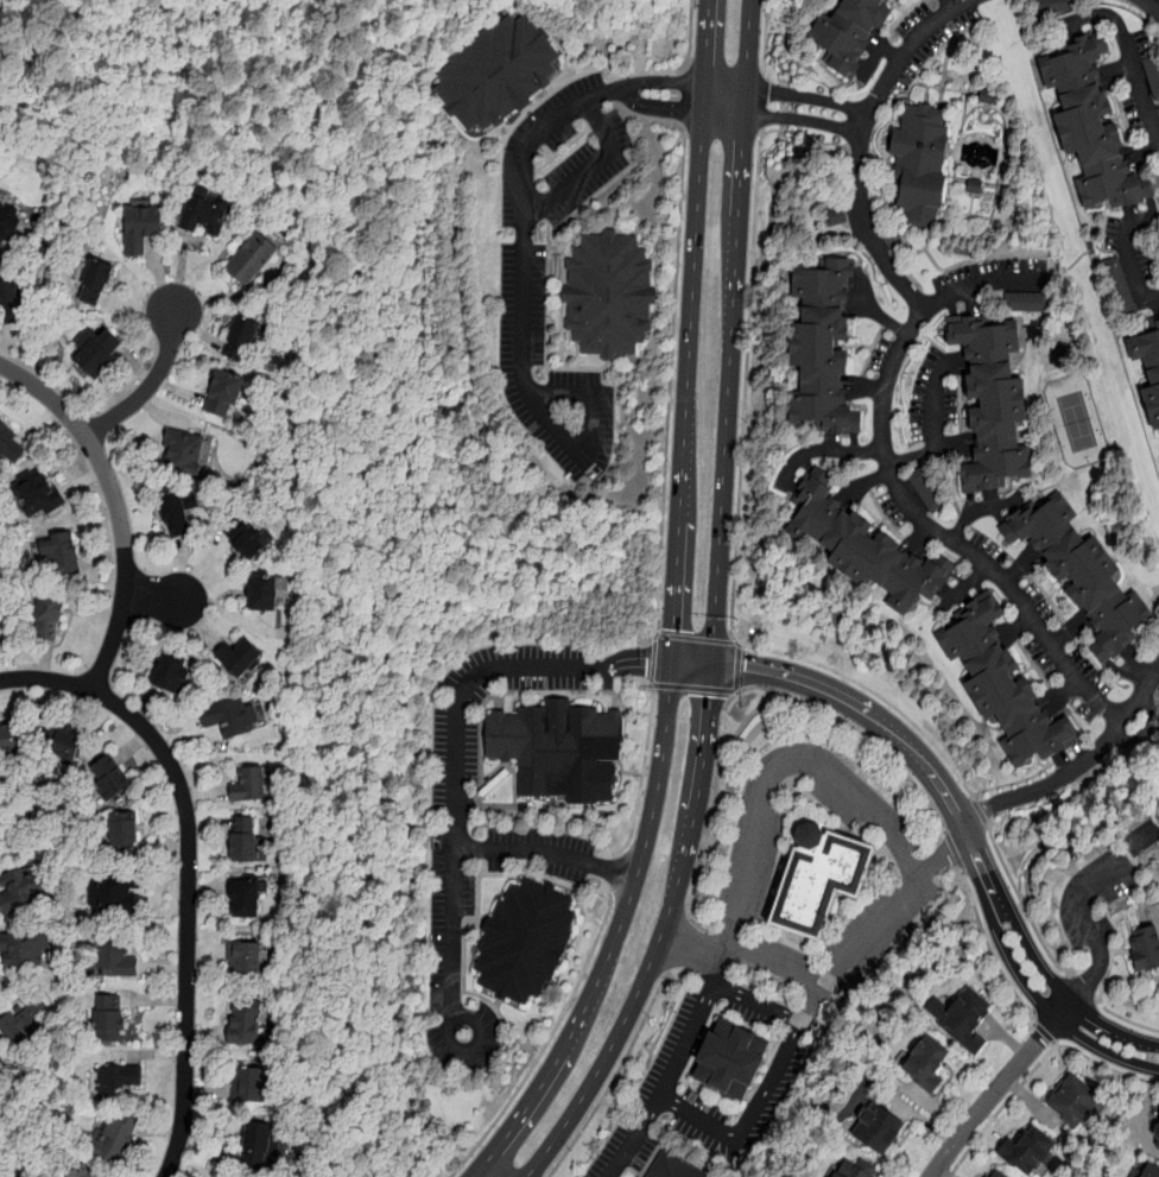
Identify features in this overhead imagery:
road: (1149, 5)
building: (1057, 6)
building: (857, 27)
road: (690, 37)
road: (765, 37)
road: (1130, 58)
building: (500, 74)
building: (1152, 75)
road: (665, 80)
road: (683, 97)
road: (761, 101)
road: (661, 107)
road: (785, 107)
building: (1094, 125)
road: (863, 145)
building: (924, 159)
road: (593, 167)
building: (204, 213)
building: (8, 220)
building: (141, 227)
road: (1144, 246)
road: (12, 251)
road: (1107, 253)
road: (1130, 255)
road: (1015, 258)
building: (252, 259)
building: (95, 281)
building: (1116, 292)
building: (612, 296)
building: (11, 299)
building: (1020, 300)
road: (525, 325)
building: (241, 338)
building: (829, 344)
building: (96, 350)
building: (1149, 363)
road: (150, 382)
road: (670, 385)
building: (224, 392)
building: (997, 398)
park: (1077, 419)
road: (935, 429)
building: (12, 444)
building: (183, 449)
building: (930, 487)
building: (38, 492)
road: (901, 495)
road: (118, 505)
building: (178, 512)
road: (736, 533)
building: (245, 538)
building: (864, 542)
building: (59, 552)
building: (1088, 569)
building: (261, 590)
road: (156, 597)
road: (716, 607)
road: (676, 610)
building: (49, 616)
building: (239, 657)
road: (646, 663)
road: (737, 669)
building: (171, 672)
building: (1009, 685)
road: (527, 691)
building: (232, 717)
road: (873, 717)
road: (860, 732)
building: (11, 738)
building: (557, 743)
building: (66, 746)
road: (642, 767)
road: (1078, 767)
building: (110, 778)
road: (1014, 781)
building: (248, 783)
road: (456, 801)
road: (981, 811)
road: (711, 820)
building: (123, 836)
building: (245, 837)
road: (954, 852)
road: (549, 854)
road: (944, 859)
road: (188, 868)
road: (614, 872)
building: (823, 880)
road: (742, 886)
building: (20, 890)
building: (118, 892)
building: (246, 894)
parking lot: (1094, 899)
road: (1024, 904)
road: (1087, 929)
road: (679, 942)
building: (528, 943)
building: (23, 949)
road: (860, 949)
road: (693, 950)
building: (1148, 951)
road: (992, 953)
building: (115, 956)
building: (245, 960)
road: (777, 967)
road: (1058, 987)
road: (1081, 988)
road: (1102, 996)
road: (1098, 999)
road: (758, 1004)
road: (1045, 1006)
building: (108, 1018)
building: (965, 1020)
building: (23, 1021)
building: (243, 1023)
road: (1044, 1030)
road: (549, 1039)
building: (0, 1057)
road: (622, 1059)
building: (735, 1063)
building: (929, 1064)
road: (1035, 1064)
building: (115, 1082)
building: (249, 1083)
road: (772, 1086)
road: (1000, 1087)
building: (1077, 1102)
road: (693, 1118)
building: (1158, 1131)
building: (881, 1132)
building: (114, 1137)
building: (260, 1145)
building: (1031, 1153)
building: (676, 1167)
building: (859, 1171)
building: (78, 1172)
building: (1153, 1172)
building: (999, 1175)

